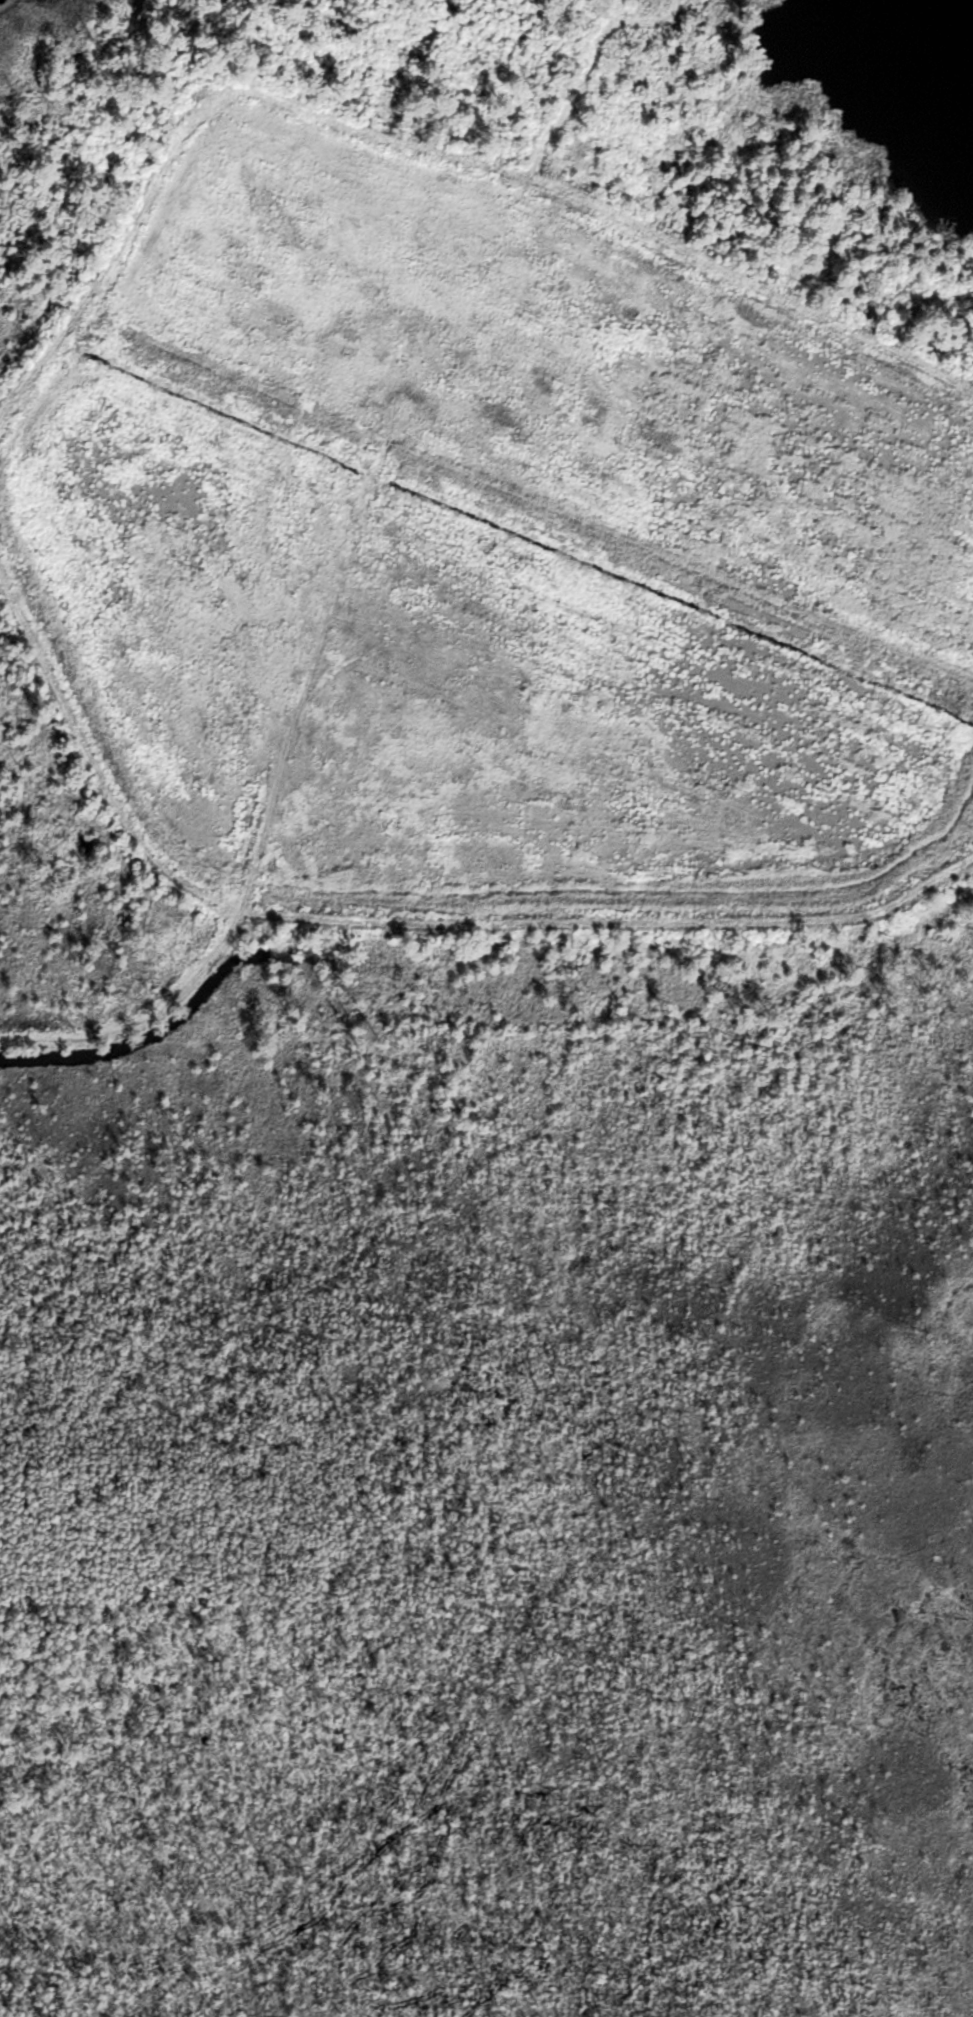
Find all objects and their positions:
road: (71, 1026)

